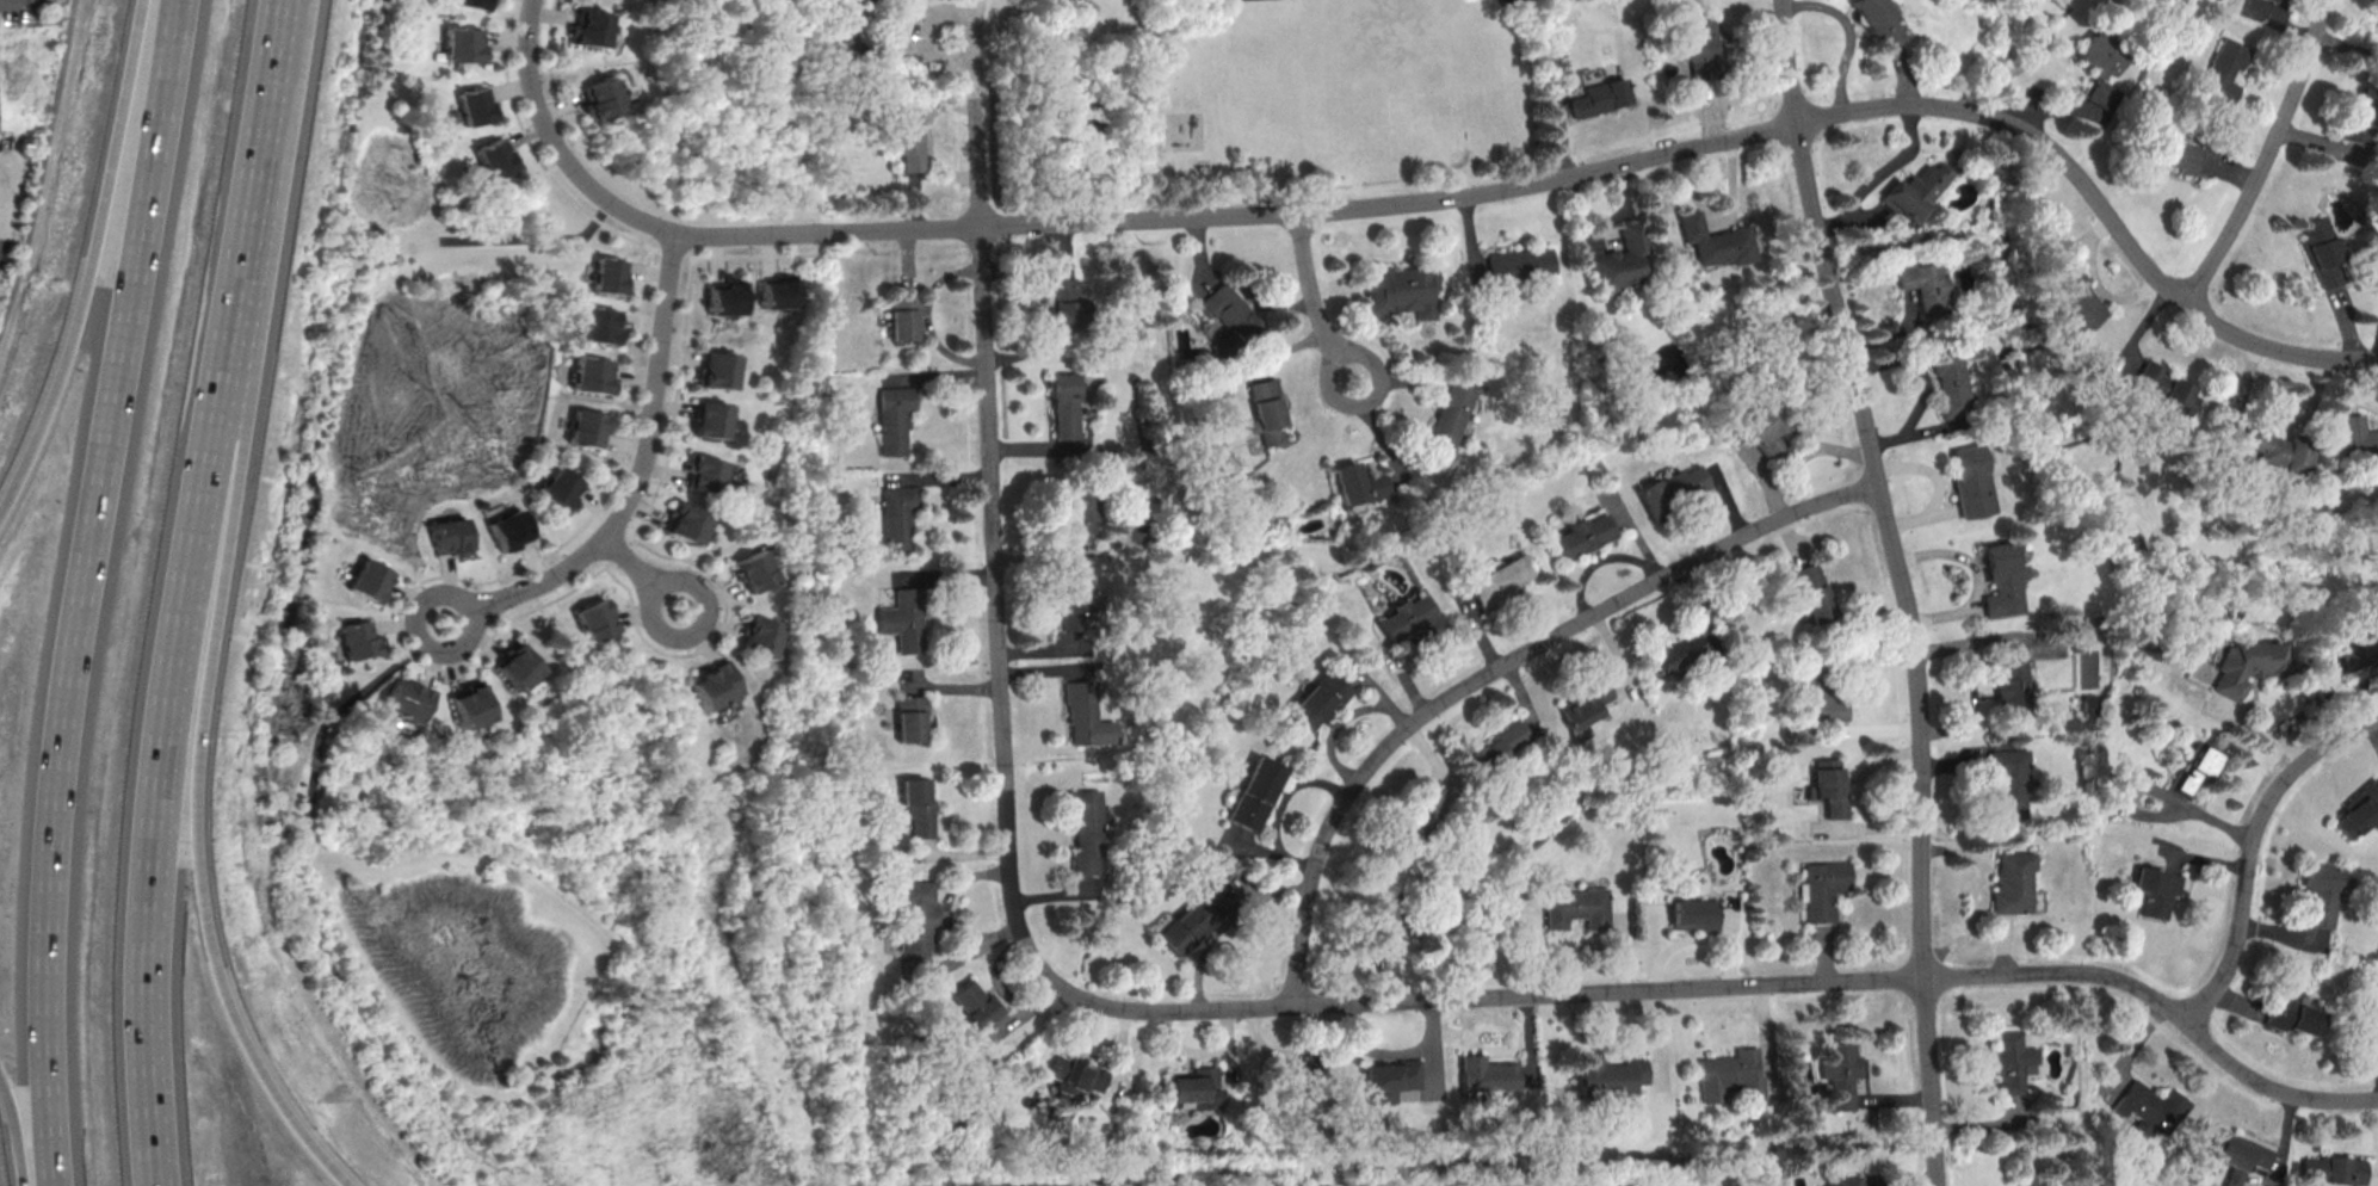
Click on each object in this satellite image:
park: (1247, 1)
building: (2265, 1)
building: (476, 2)
building: (847, 2)
road: (964, 18)
building: (1876, 21)
building: (588, 27)
building: (2377, 38)
building: (463, 43)
building: (1699, 48)
building: (2101, 54)
building: (2229, 68)
building: (601, 95)
building: (1599, 97)
building: (475, 105)
building: (2365, 115)
road: (976, 124)
building: (904, 138)
road: (555, 143)
building: (2173, 153)
building: (494, 156)
road: (2274, 157)
road: (43, 167)
road: (1879, 174)
road: (1571, 175)
road: (246, 189)
building: (1915, 191)
building: (1715, 240)
building: (2329, 252)
road: (82, 258)
building: (1620, 260)
building: (1517, 262)
building: (609, 276)
building: (1923, 285)
building: (1402, 289)
building: (778, 292)
building: (2071, 297)
building: (724, 298)
road: (1314, 302)
building: (1064, 308)
building: (903, 315)
building: (1229, 317)
building: (599, 325)
building: (718, 370)
building: (591, 375)
building: (1946, 382)
building: (2164, 387)
building: (1063, 404)
building: (1264, 410)
building: (895, 416)
building: (711, 419)
building: (1447, 419)
building: (1762, 424)
building: (587, 427)
building: (2359, 434)
building: (2278, 447)
road: (638, 465)
building: (704, 472)
building: (1970, 481)
building: (1357, 483)
building: (1669, 489)
building: (560, 490)
building: (1075, 511)
building: (897, 515)
building: (687, 521)
building: (508, 529)
building: (1580, 535)
building: (451, 536)
road: (628, 564)
building: (753, 569)
building: (2001, 579)
building: (369, 580)
building: (1497, 582)
road: (1903, 587)
road: (993, 589)
road: (84, 591)
building: (1810, 593)
building: (1071, 600)
building: (1412, 618)
building: (904, 619)
building: (594, 620)
road: (702, 625)
road: (419, 631)
building: (758, 636)
building: (357, 640)
building: (2358, 649)
building: (1674, 654)
building: (2247, 662)
road: (1500, 666)
building: (518, 667)
building: (2012, 681)
building: (714, 686)
building: (1816, 694)
building: (1316, 699)
building: (407, 700)
building: (470, 708)
building: (1582, 709)
building: (1082, 714)
building: (910, 718)
building: (1499, 747)
building: (2197, 768)
road: (148, 778)
building: (2011, 779)
building: (1829, 785)
building: (1254, 793)
road: (189, 803)
building: (915, 805)
building: (2361, 810)
building: (1420, 817)
building: (1083, 830)
road: (2254, 850)
building: (2014, 883)
building: (2160, 888)
building: (1827, 889)
building: (2323, 891)
building: (1583, 908)
road: (941, 910)
building: (1384, 912)
building: (1699, 913)
building: (913, 916)
building: (1193, 918)
road: (1709, 986)
building: (974, 1005)
building: (2297, 1011)
building: (2012, 1060)
building: (1841, 1071)
building: (1074, 1075)
building: (1293, 1075)
building: (1487, 1075)
building: (1732, 1075)
building: (1605, 1076)
building: (1389, 1081)
building: (1191, 1085)
building: (2152, 1105)
road: (8, 1144)
building: (2244, 1153)
building: (2336, 1170)
building: (2030, 1180)
building: (1842, 1181)

